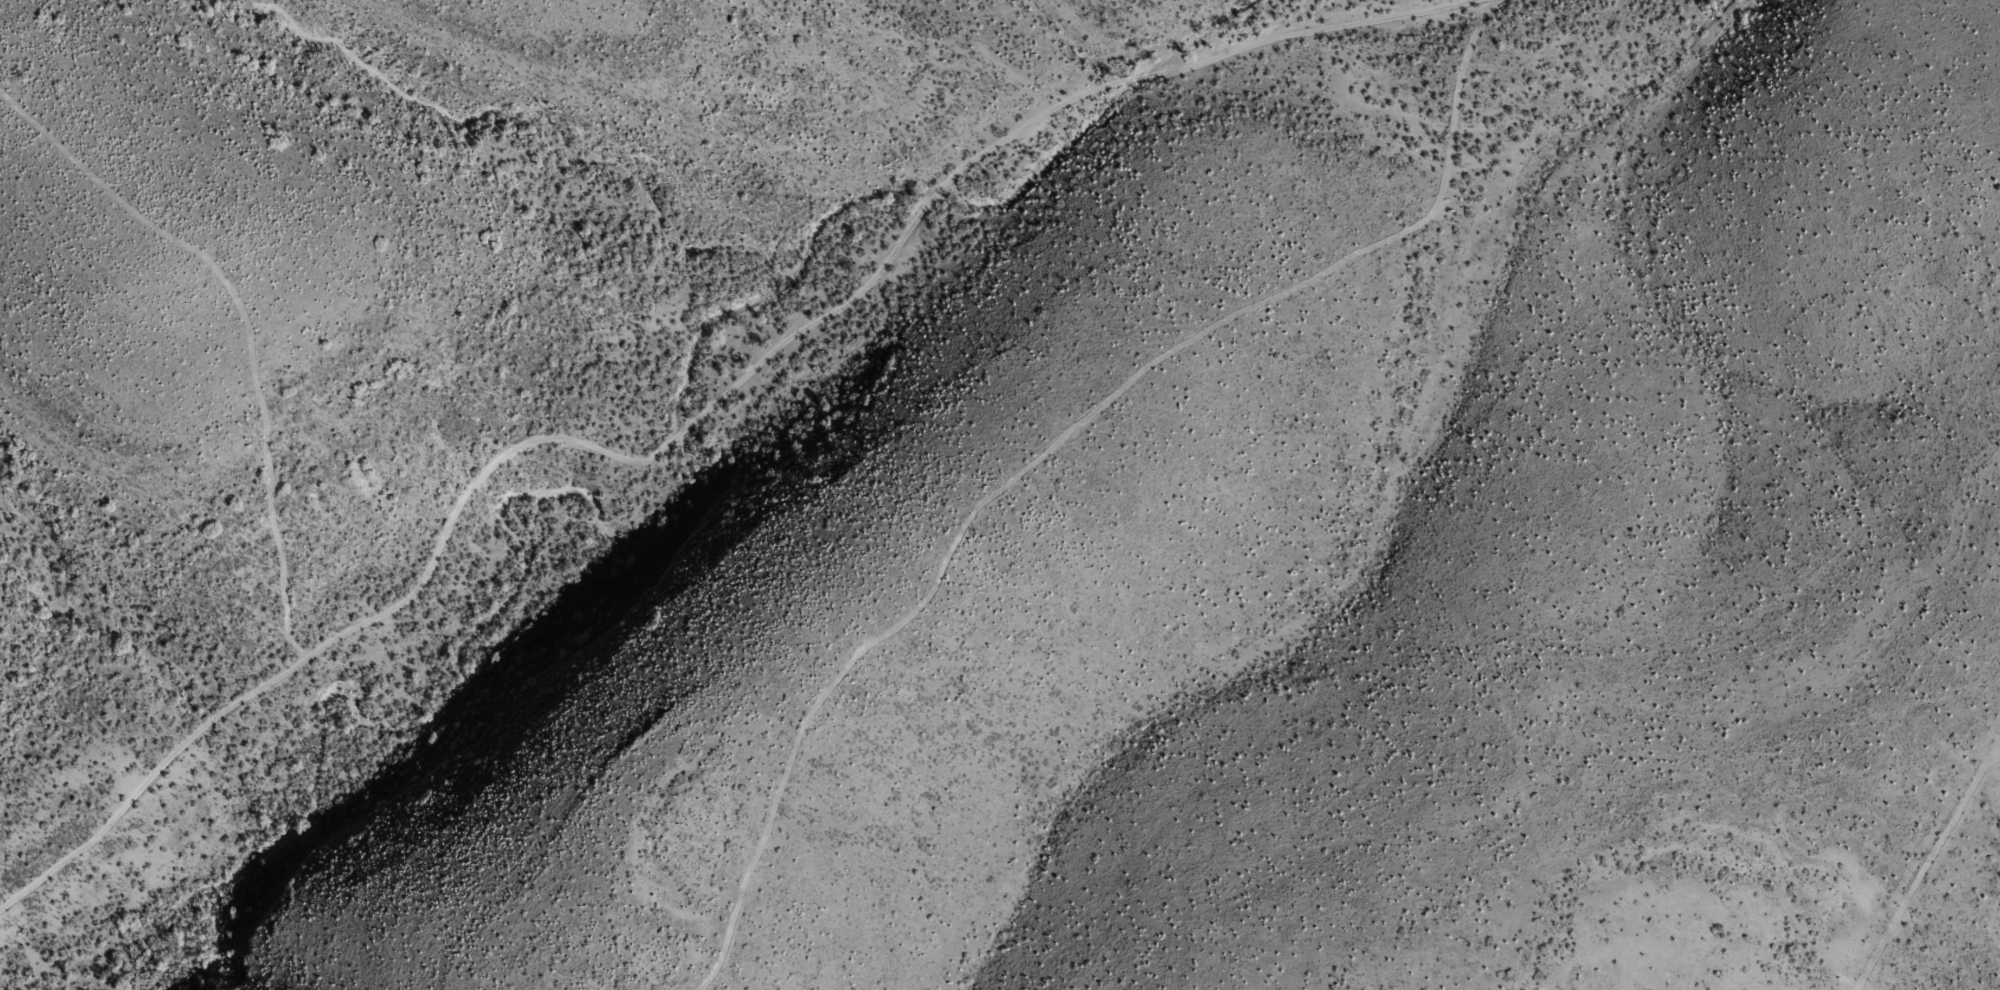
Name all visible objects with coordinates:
road: (667, 419)

